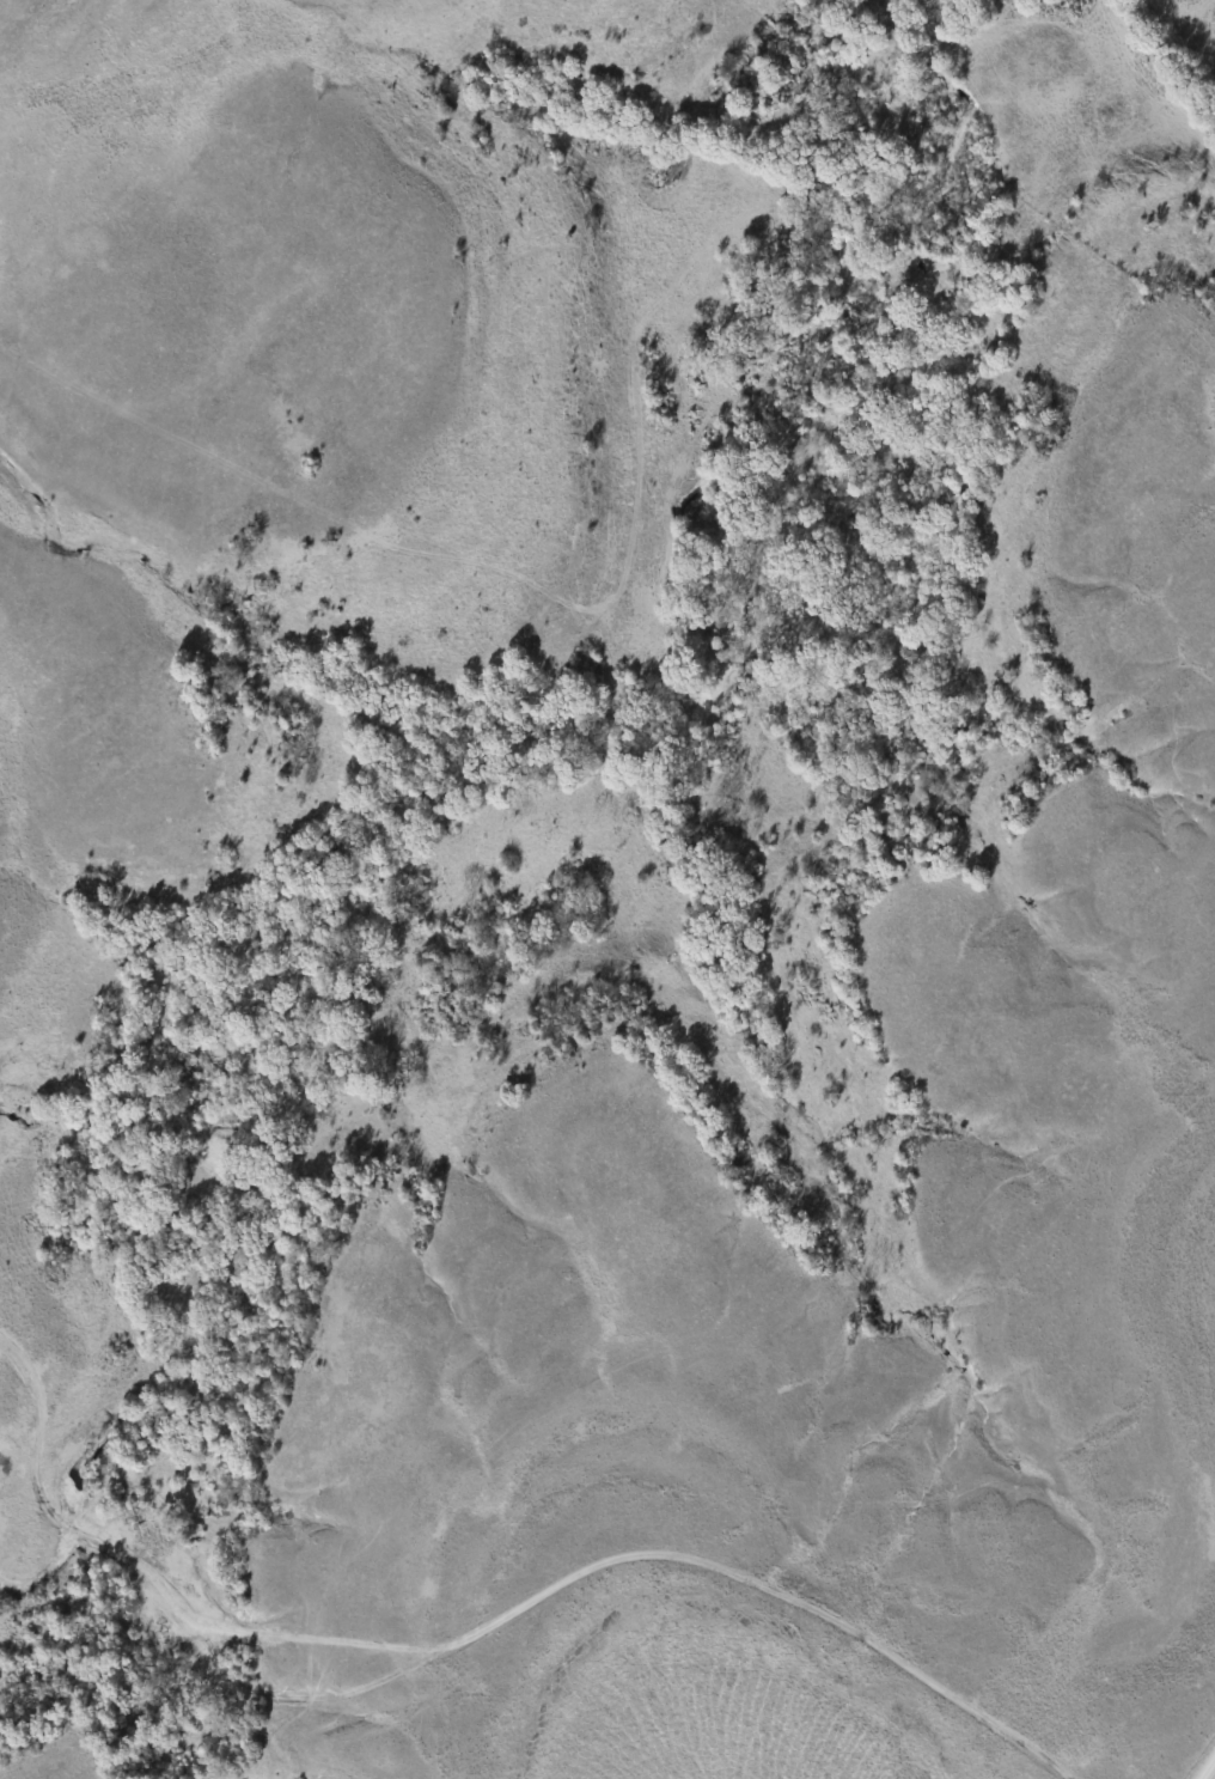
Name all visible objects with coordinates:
road: (1213, 1775)

